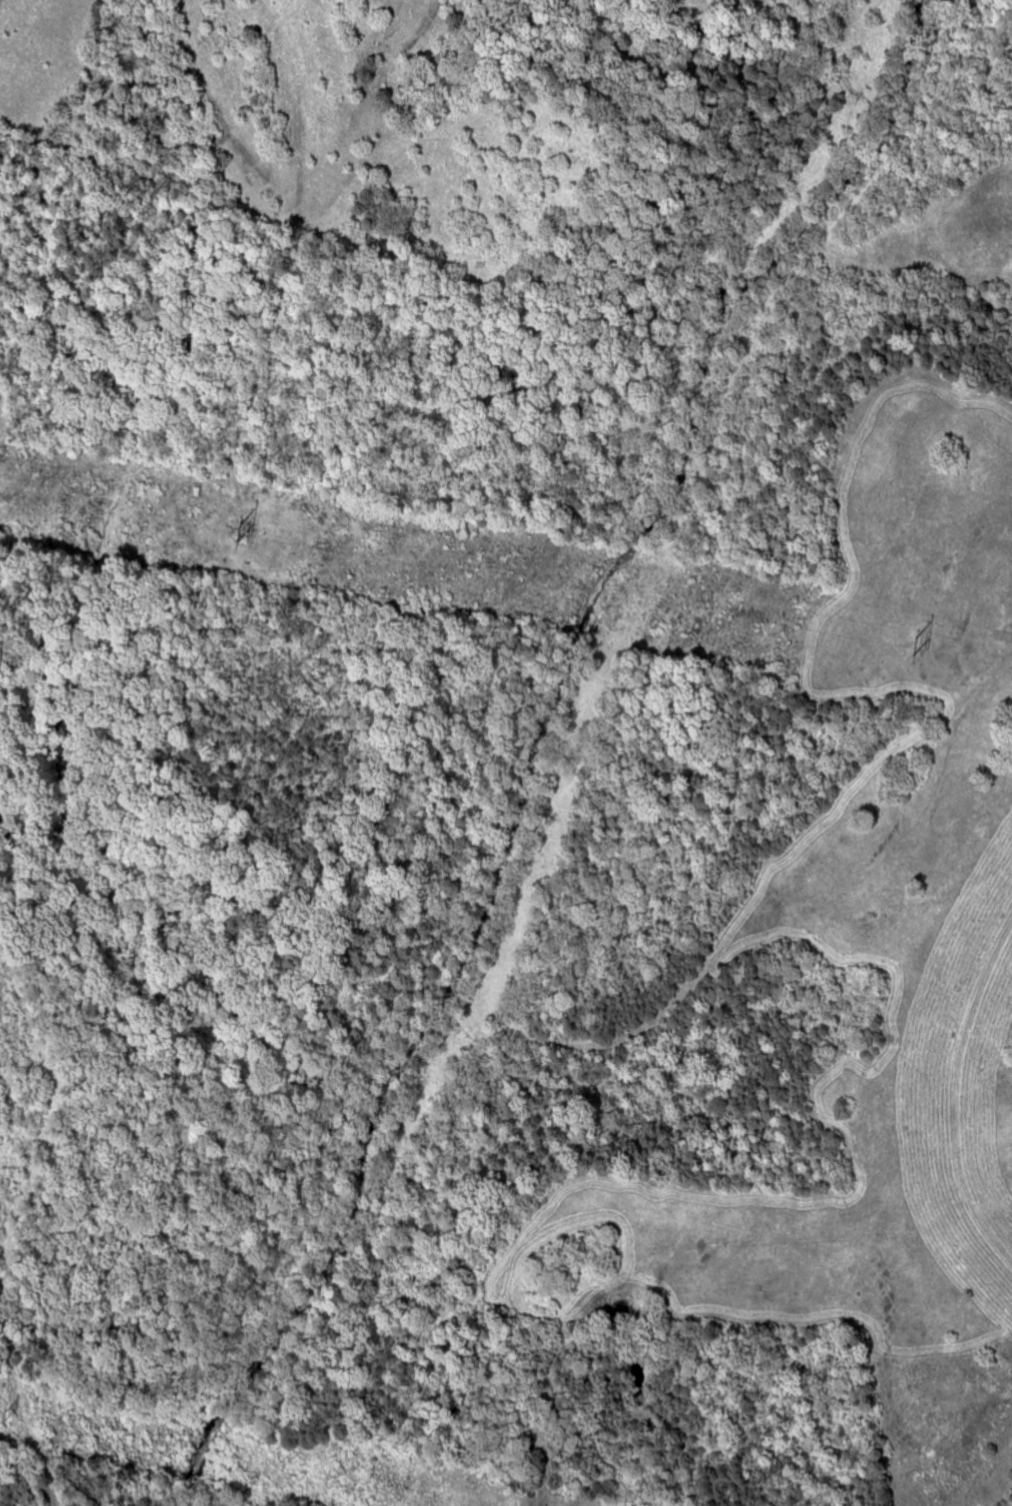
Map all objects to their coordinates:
power tower: (241, 526)
power tower: (915, 644)
road: (971, 1076)
power tower: (5, 1411)

